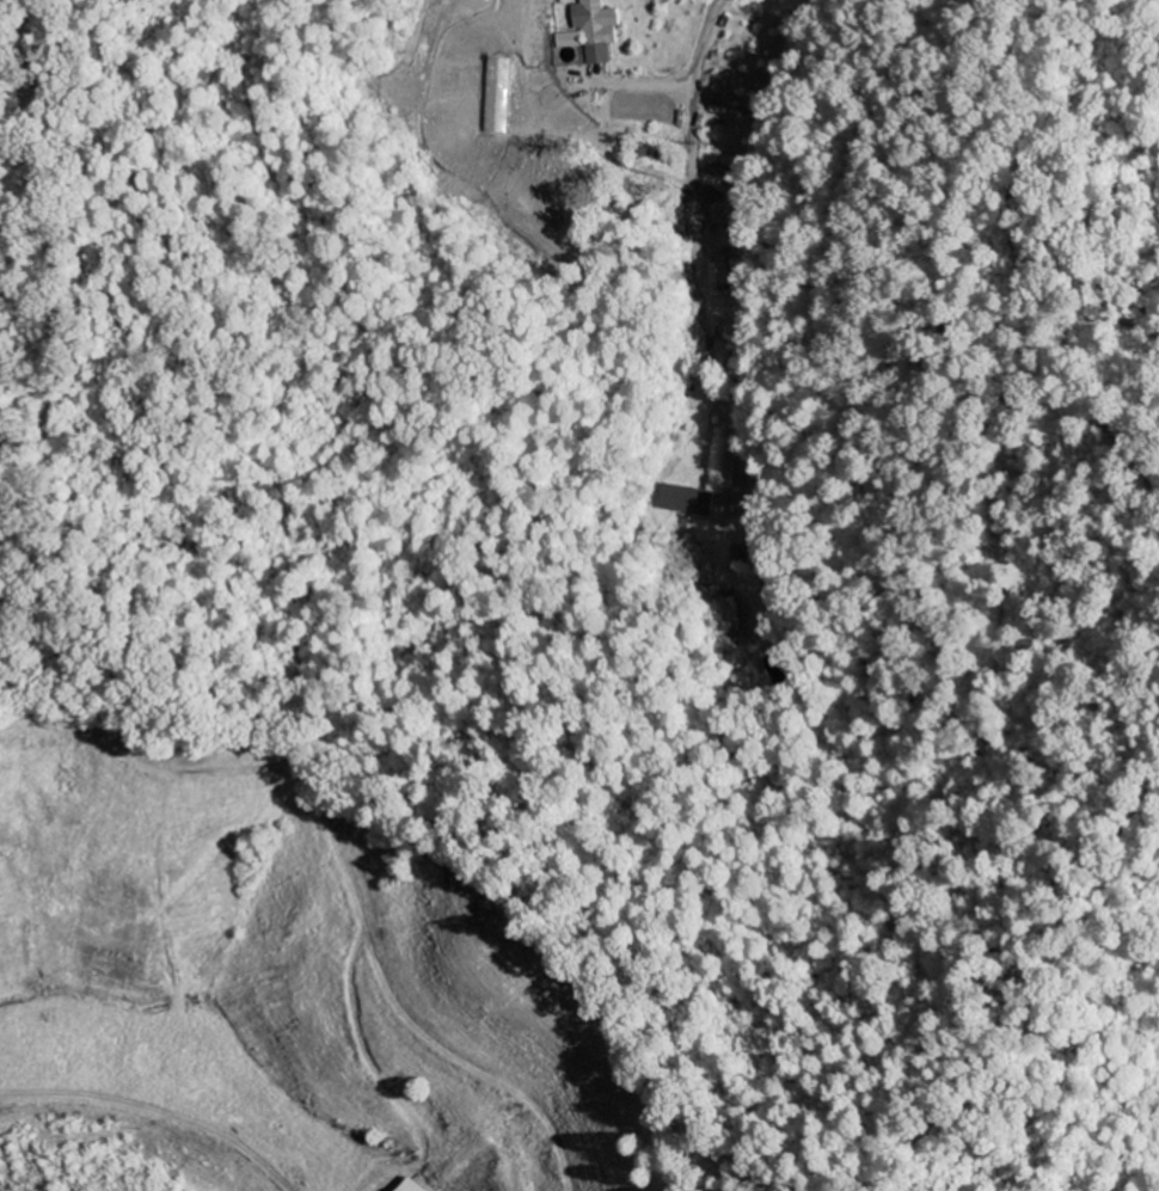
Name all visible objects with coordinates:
building: (587, 32)
road: (695, 241)
building: (682, 502)
building: (418, 1186)

